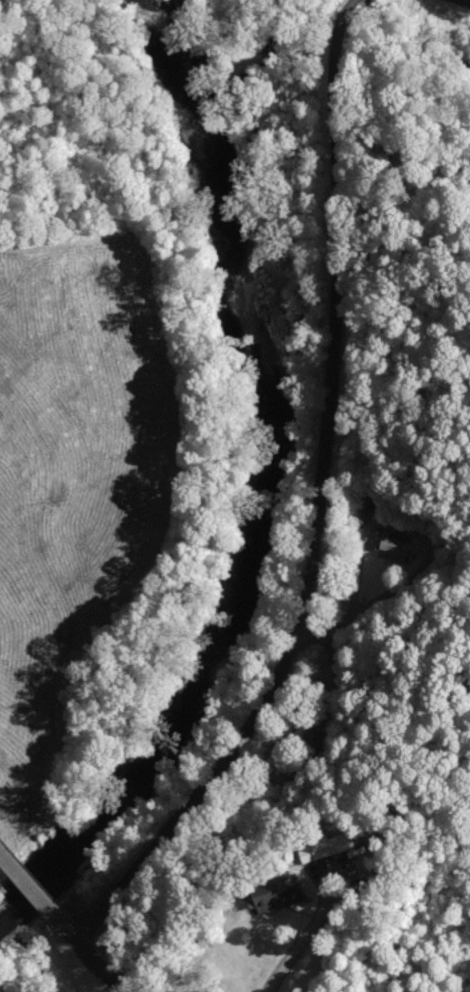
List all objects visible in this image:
road: (456, 4)
road: (351, 490)
building: (393, 547)
road: (4, 812)
building: (326, 848)
road: (39, 857)
building: (282, 893)
road: (305, 937)
road: (91, 953)

